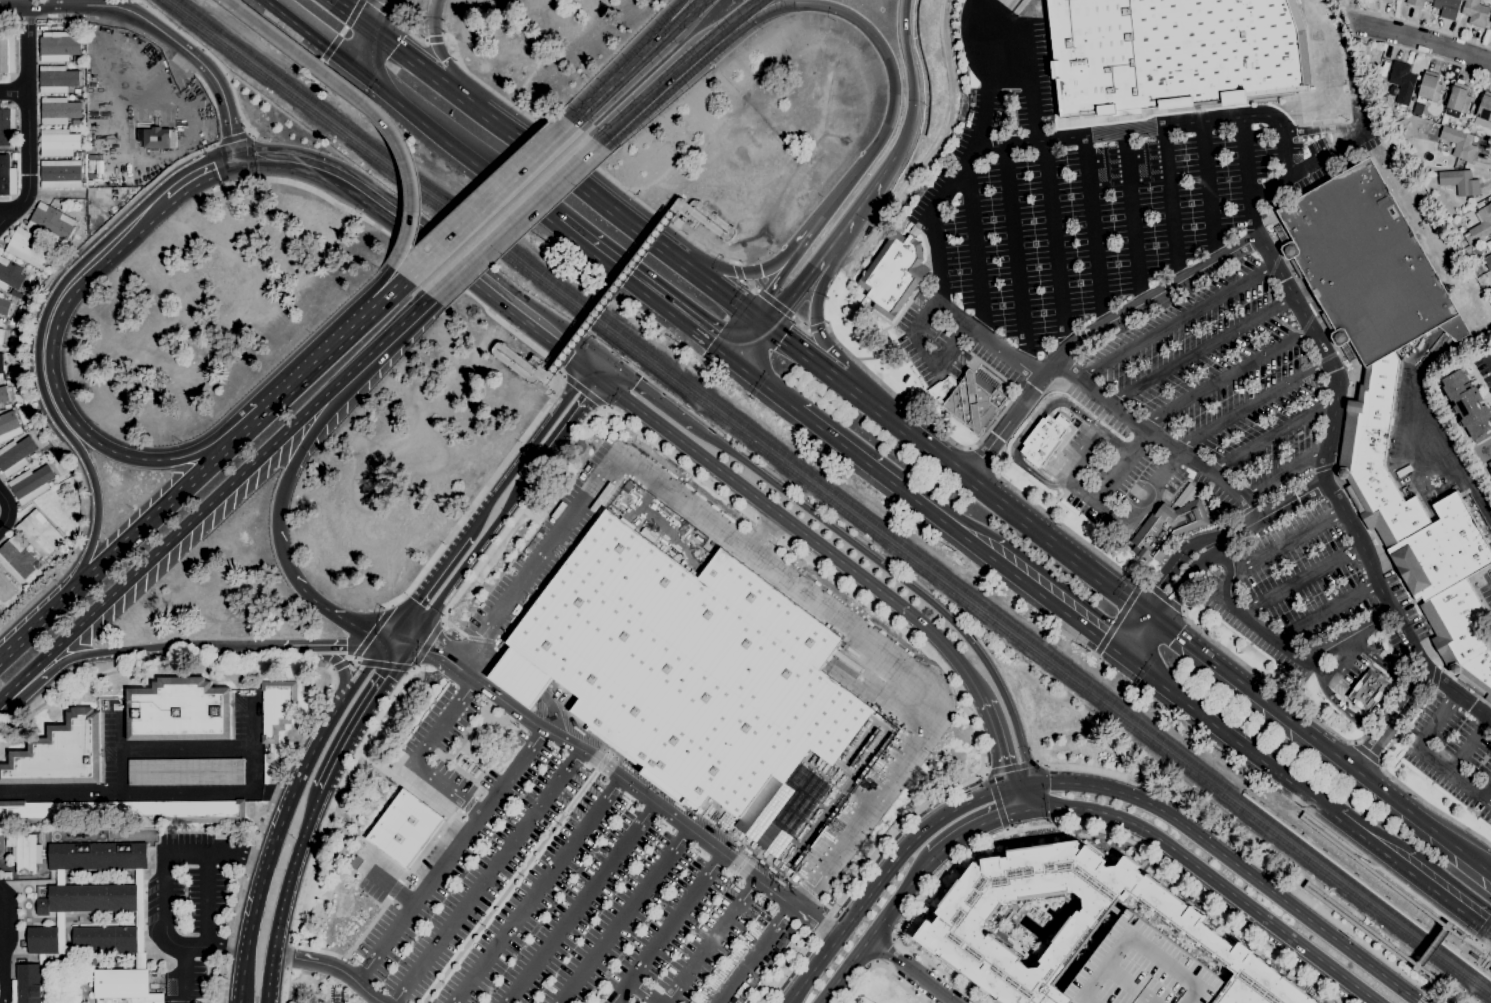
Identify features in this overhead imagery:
building: (1388, 0)
building: (1417, 2)
road: (383, 8)
road: (750, 8)
building: (1447, 8)
road: (19, 9)
road: (36, 9)
road: (374, 9)
road: (350, 10)
building: (1475, 13)
road: (40, 19)
building: (1490, 19)
traffic signals: (364, 20)
road: (998, 20)
road: (1418, 25)
building: (1489, 25)
road: (155, 27)
road: (657, 29)
road: (406, 32)
road: (309, 35)
road: (433, 39)
road: (1425, 40)
building: (59, 45)
road: (360, 45)
road: (28, 47)
road: (1408, 50)
road: (439, 52)
building: (7, 53)
road: (208, 54)
building: (1172, 54)
road: (634, 58)
road: (415, 60)
road: (889, 65)
traffic signals: (357, 70)
road: (911, 73)
road: (167, 75)
road: (1330, 76)
road: (666, 78)
building: (57, 79)
building: (1376, 79)
building: (1402, 81)
building: (1428, 88)
building: (1458, 98)
road: (371, 106)
building: (1484, 106)
building: (58, 110)
building: (7, 127)
road: (1310, 129)
building: (128, 136)
building: (157, 137)
road: (231, 137)
building: (58, 142)
building: (1459, 143)
road: (1006, 144)
road: (28, 147)
road: (455, 148)
road: (249, 155)
building: (13, 156)
traffic signals: (236, 157)
road: (583, 160)
road: (1310, 162)
building: (59, 173)
building: (7, 177)
road: (1249, 178)
road: (191, 179)
road: (581, 181)
building: (1460, 181)
road: (869, 192)
road: (1209, 192)
road: (487, 200)
building: (1479, 204)
road: (1172, 206)
road: (681, 209)
road: (4, 210)
road: (512, 218)
road: (681, 218)
road: (683, 218)
road: (1134, 220)
building: (51, 223)
building: (1480, 225)
building: (914, 230)
road: (725, 235)
road: (1094, 235)
road: (423, 238)
building: (1490, 239)
road: (837, 240)
building: (28, 247)
road: (1057, 247)
road: (974, 251)
road: (1016, 256)
building: (1487, 261)
road: (785, 264)
road: (764, 266)
traffic signals: (760, 269)
building: (10, 274)
building: (894, 274)
road: (802, 284)
road: (727, 285)
road: (374, 286)
road: (613, 291)
road: (637, 292)
building: (16, 293)
building: (1490, 294)
road: (388, 295)
road: (55, 303)
road: (776, 303)
building: (4, 305)
traffic signals: (757, 308)
road: (765, 314)
road: (1303, 317)
traffic signals: (773, 321)
road: (1177, 323)
road: (739, 333)
parking lot: (1152, 338)
building: (1, 340)
road: (824, 341)
road: (379, 344)
road: (532, 345)
road: (755, 346)
road: (497, 347)
road: (1200, 349)
road: (921, 351)
traffic signals: (721, 358)
road: (318, 362)
road: (729, 365)
road: (21, 366)
traffic signals: (593, 366)
building: (1, 367)
road: (552, 371)
road: (600, 371)
road: (546, 372)
traffic signals: (737, 372)
traffic signals: (608, 377)
road: (1225, 378)
road: (548, 388)
road: (581, 390)
road: (764, 391)
building: (1390, 392)
building: (3, 394)
road: (652, 395)
building: (973, 401)
building: (1467, 401)
road: (1251, 405)
road: (604, 408)
road: (553, 417)
building: (9, 426)
road: (568, 427)
road: (934, 428)
road: (1027, 428)
road: (242, 433)
road: (573, 438)
building: (1045, 438)
road: (1273, 438)
road: (968, 448)
road: (193, 452)
road: (117, 453)
building: (15, 455)
building: (33, 455)
road: (980, 459)
road: (1189, 463)
road: (993, 467)
road: (958, 469)
building: (1490, 470)
road: (1465, 477)
building: (30, 484)
building: (50, 484)
road: (285, 485)
road: (1073, 486)
railway: (834, 493)
railway: (826, 499)
road: (489, 502)
road: (1140, 503)
road: (1247, 509)
road: (12, 512)
road: (1266, 513)
road: (94, 518)
road: (769, 527)
road: (1065, 527)
road: (140, 528)
building: (1167, 529)
road: (956, 532)
building: (39, 533)
road: (763, 535)
road: (1285, 539)
road: (169, 542)
road: (536, 558)
building: (16, 560)
road: (466, 561)
road: (834, 561)
road: (1168, 566)
road: (893, 577)
road: (1300, 581)
road: (427, 584)
road: (1185, 584)
building: (5, 587)
traffic signals: (419, 595)
road: (1161, 596)
road: (1327, 610)
traffic signals: (1149, 612)
road: (340, 614)
road: (1117, 619)
road: (30, 630)
road: (1135, 633)
road: (439, 637)
road: (398, 640)
road: (365, 641)
road: (1280, 641)
road: (384, 642)
road: (1076, 643)
road: (425, 645)
traffic signals: (405, 647)
road: (338, 648)
road: (874, 648)
road: (149, 649)
road: (391, 649)
traffic signals: (1121, 654)
road: (477, 661)
road: (336, 663)
road: (381, 664)
road: (1333, 668)
road: (330, 674)
traffic signals: (387, 675)
road: (520, 677)
road: (1433, 683)
road: (1269, 684)
building: (704, 685)
building: (1367, 689)
road: (345, 696)
road: (5, 697)
road: (1379, 701)
building: (276, 707)
building: (178, 710)
road: (549, 711)
road: (360, 715)
road: (1389, 720)
road: (1227, 735)
road: (1319, 742)
road: (1354, 742)
road: (184, 746)
road: (1469, 746)
parking lot: (1446, 747)
building: (59, 753)
road: (1366, 753)
road: (414, 755)
road: (1428, 757)
road: (1035, 759)
road: (1379, 763)
traffic signals: (999, 765)
road: (980, 770)
building: (185, 771)
road: (982, 772)
road: (985, 777)
traffic signals: (1048, 780)
road: (1395, 780)
road: (625, 782)
road: (1016, 784)
road: (145, 791)
railway: (1241, 793)
road: (1023, 796)
road: (1011, 799)
building: (124, 811)
traffic signals: (996, 819)
road: (322, 824)
road: (1065, 825)
road: (971, 827)
building: (403, 828)
road: (1005, 831)
track: (0, 843)
road: (1237, 846)
road: (1344, 850)
building: (24, 851)
road: (215, 851)
building: (96, 856)
road: (449, 856)
road: (1233, 864)
road: (261, 867)
road: (292, 869)
road: (1412, 874)
building: (7, 875)
road: (486, 876)
road: (1208, 876)
building: (59, 877)
road: (881, 877)
road: (1305, 884)
road: (387, 885)
parking lot: (561, 886)
road: (535, 890)
road: (1412, 894)
building: (87, 898)
road: (210, 899)
road: (578, 903)
road: (621, 916)
building: (139, 920)
building: (1032, 924)
building: (1076, 924)
road: (1482, 928)
road: (666, 929)
road: (877, 929)
road: (164, 933)
building: (61, 934)
building: (104, 939)
road: (1465, 939)
building: (42, 940)
road: (709, 940)
road: (1473, 940)
road: (5, 944)
road: (1478, 945)
road: (1432, 947)
road: (881, 949)
road: (753, 953)
road: (1483, 962)
road: (331, 967)
road: (879, 968)
parking lot: (1142, 969)
road: (913, 970)
road: (185, 975)
building: (42, 977)
road: (269, 978)
road: (1434, 978)
road: (1427, 979)
building: (26, 984)
building: (124, 986)
road: (304, 987)
park: (883, 987)
road: (642, 992)
road: (1422, 998)
road: (237, 1002)

